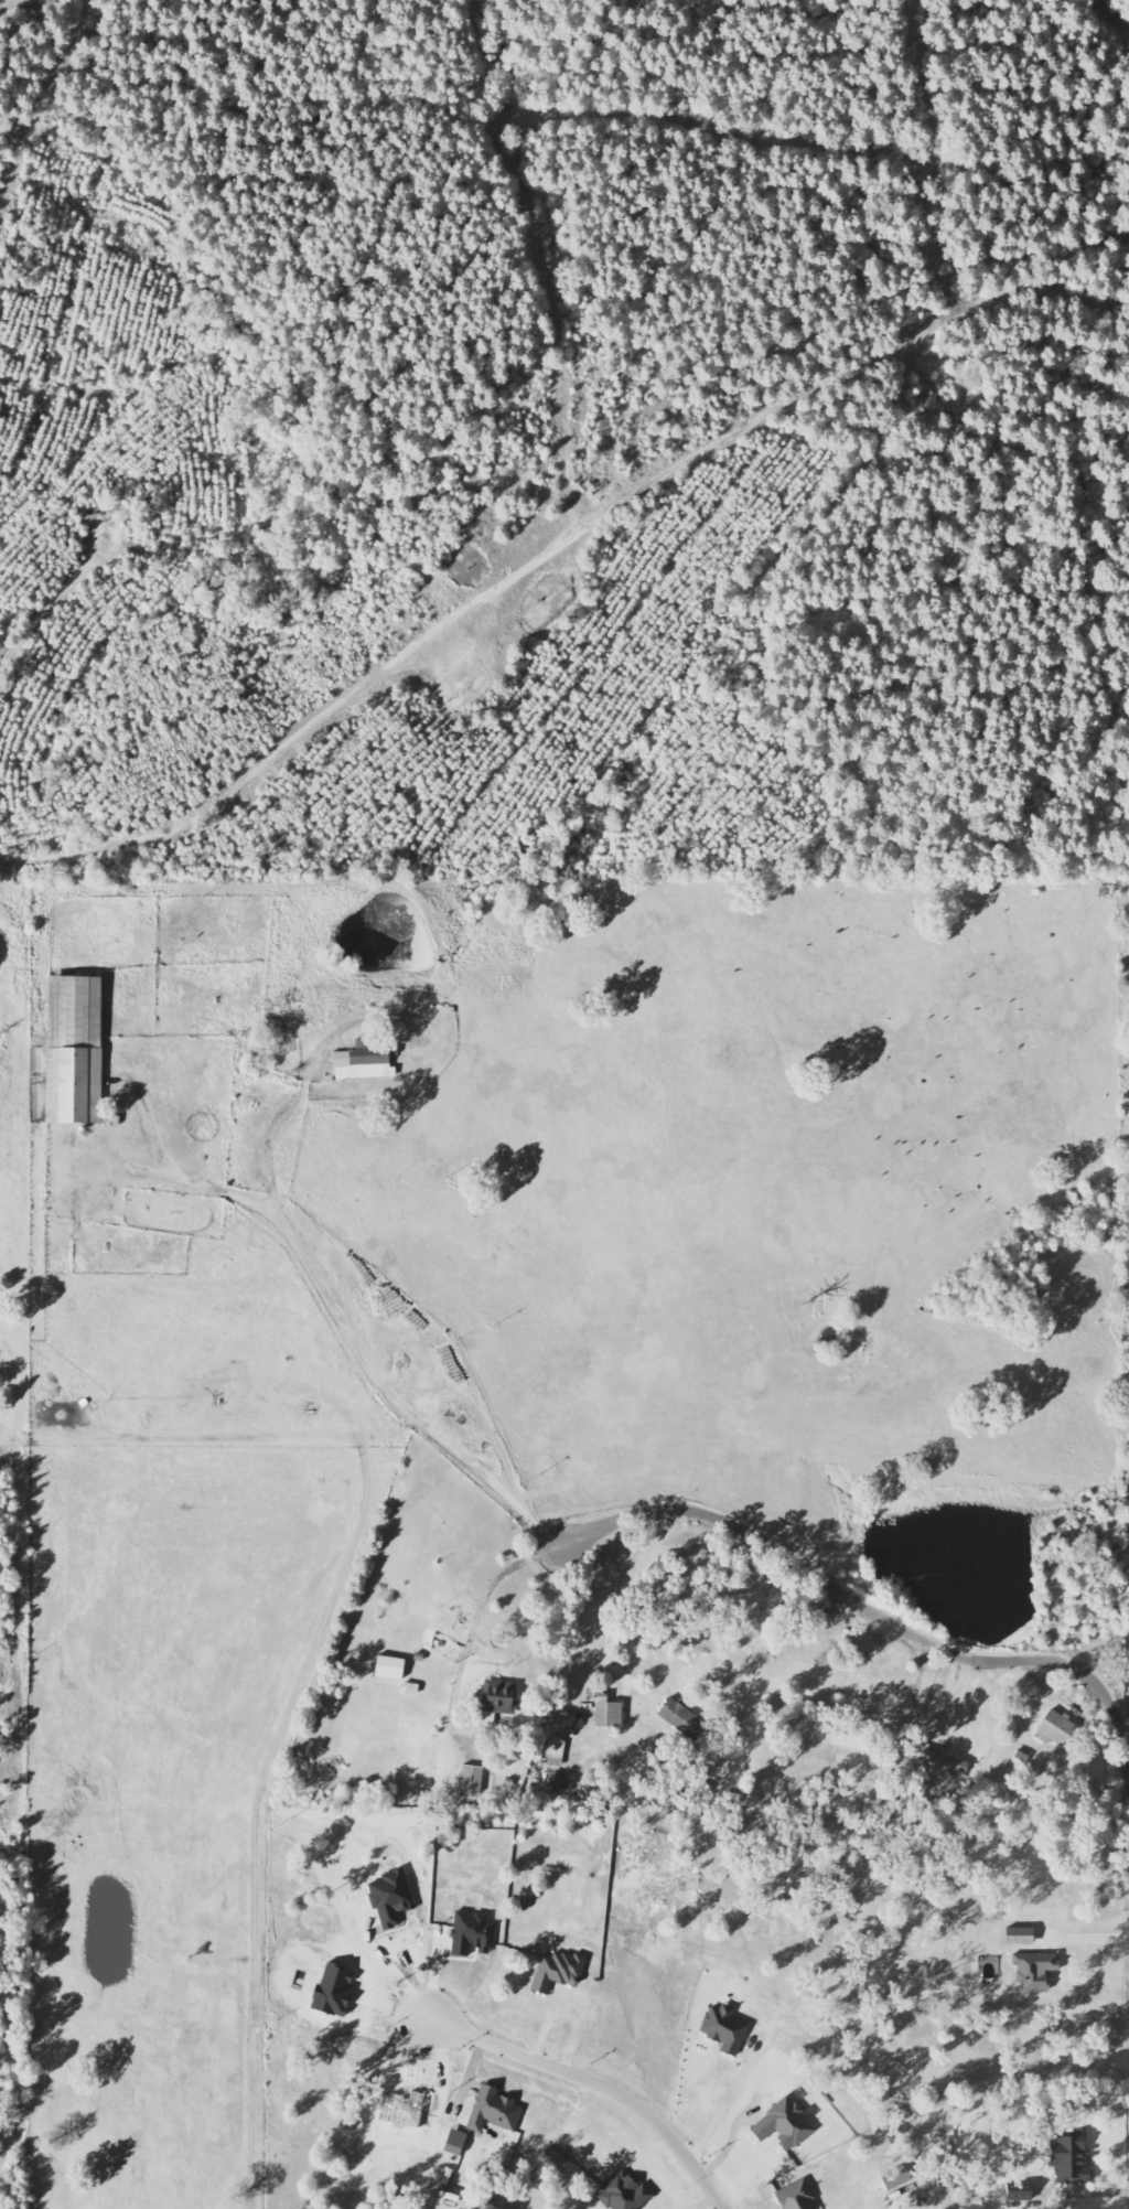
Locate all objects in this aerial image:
road: (114, 533)
road: (551, 553)
road: (41, 618)
building: (273, 1028)
building: (74, 1051)
building: (365, 1062)
road: (865, 1607)
building: (497, 1697)
building: (607, 1713)
building: (684, 1720)
building: (1054, 1729)
building: (472, 1780)
building: (561, 1783)
building: (472, 1937)
building: (558, 1972)
building: (724, 2030)
road: (596, 2084)
building: (493, 2112)
building: (783, 2126)
building: (1071, 2162)
building: (895, 2178)
building: (624, 2194)
building: (796, 2197)

